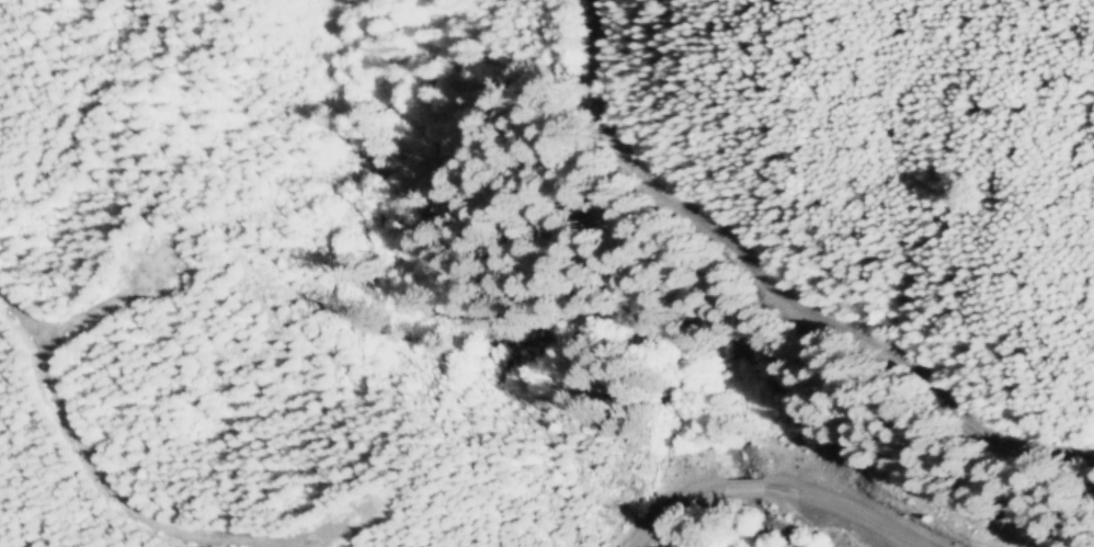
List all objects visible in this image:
road: (739, 293)
road: (733, 488)

